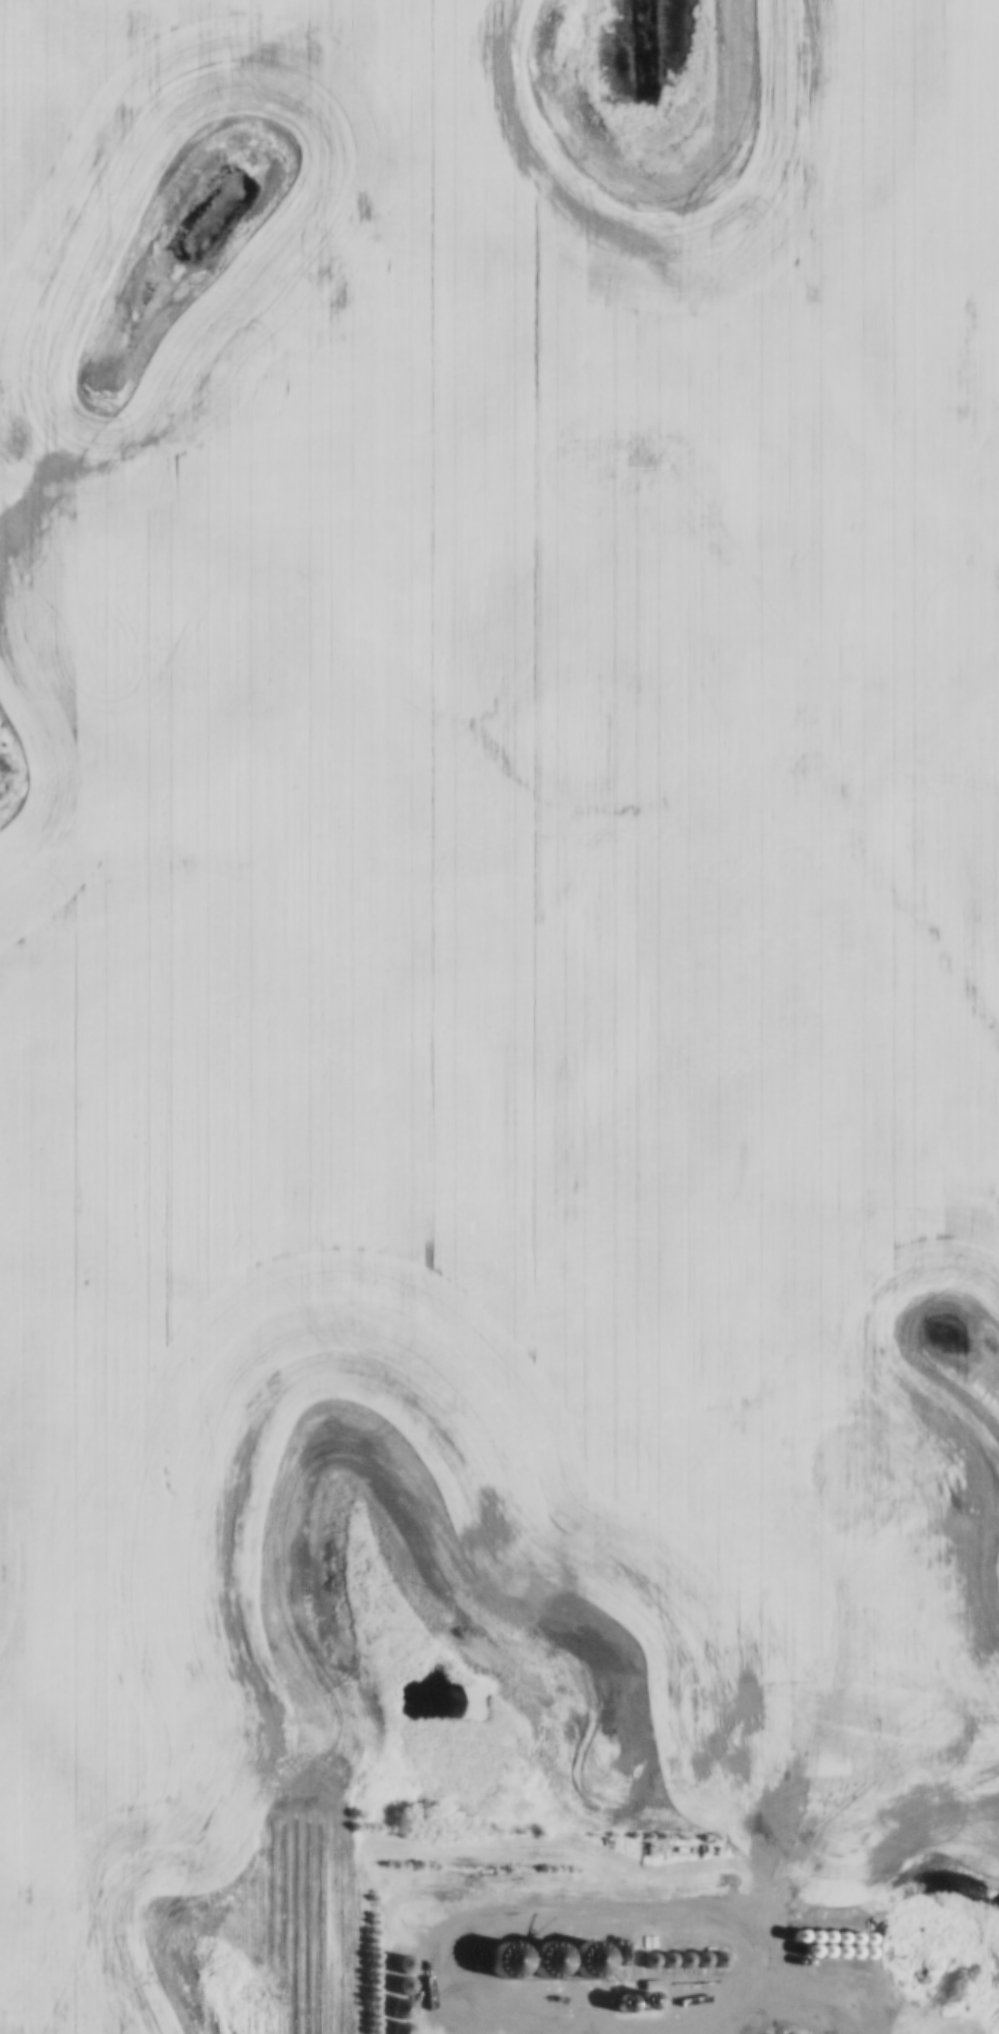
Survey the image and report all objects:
building: (796, 1905)
silo: (796, 1905)
building: (806, 1906)
silo: (806, 1906)
building: (816, 1907)
silo: (816, 1907)
building: (826, 1908)
silo: (826, 1908)
building: (837, 1908)
silo: (837, 1908)
building: (848, 1909)
silo: (848, 1909)
building: (812, 1928)
silo: (812, 1928)
building: (825, 1929)
silo: (825, 1929)
building: (839, 1929)
silo: (839, 1929)
building: (853, 1929)
silo: (853, 1929)
building: (591, 1938)
silo: (591, 1938)
building: (811, 1942)
silo: (811, 1942)
building: (825, 1942)
silo: (825, 1942)
building: (839, 1942)
silo: (839, 1942)
building: (853, 1942)
silo: (853, 1942)
building: (604, 1947)
silo: (604, 1947)
building: (655, 1947)
silo: (655, 1947)
building: (673, 1947)
silo: (673, 1947)
building: (690, 1947)
silo: (690, 1947)
building: (707, 1947)
silo: (707, 1947)
building: (620, 1948)
silo: (620, 1948)
building: (638, 1948)
silo: (638, 1948)
building: (564, 1949)
silo: (564, 1949)
building: (389, 1951)
silo: (389, 1951)
building: (610, 1961)
silo: (610, 1961)
building: (476, 1964)
silo: (476, 1964)
building: (493, 1965)
silo: (493, 1965)
building: (511, 1965)
silo: (511, 1965)
building: (528, 1965)
silo: (528, 1965)
building: (544, 1965)
silo: (544, 1965)
building: (560, 1965)
silo: (560, 1965)
building: (389, 1973)
silo: (389, 1973)
building: (565, 1993)
silo: (565, 1993)
building: (388, 1996)
silo: (388, 1996)
road: (769, 1996)
building: (388, 2021)
silo: (388, 2021)
building: (466, 2032)
silo: (466, 2032)
building: (490, 2032)
silo: (490, 2032)
building: (514, 2032)
silo: (514, 2032)
building: (537, 2032)
silo: (537, 2032)
building: (790, 2033)

